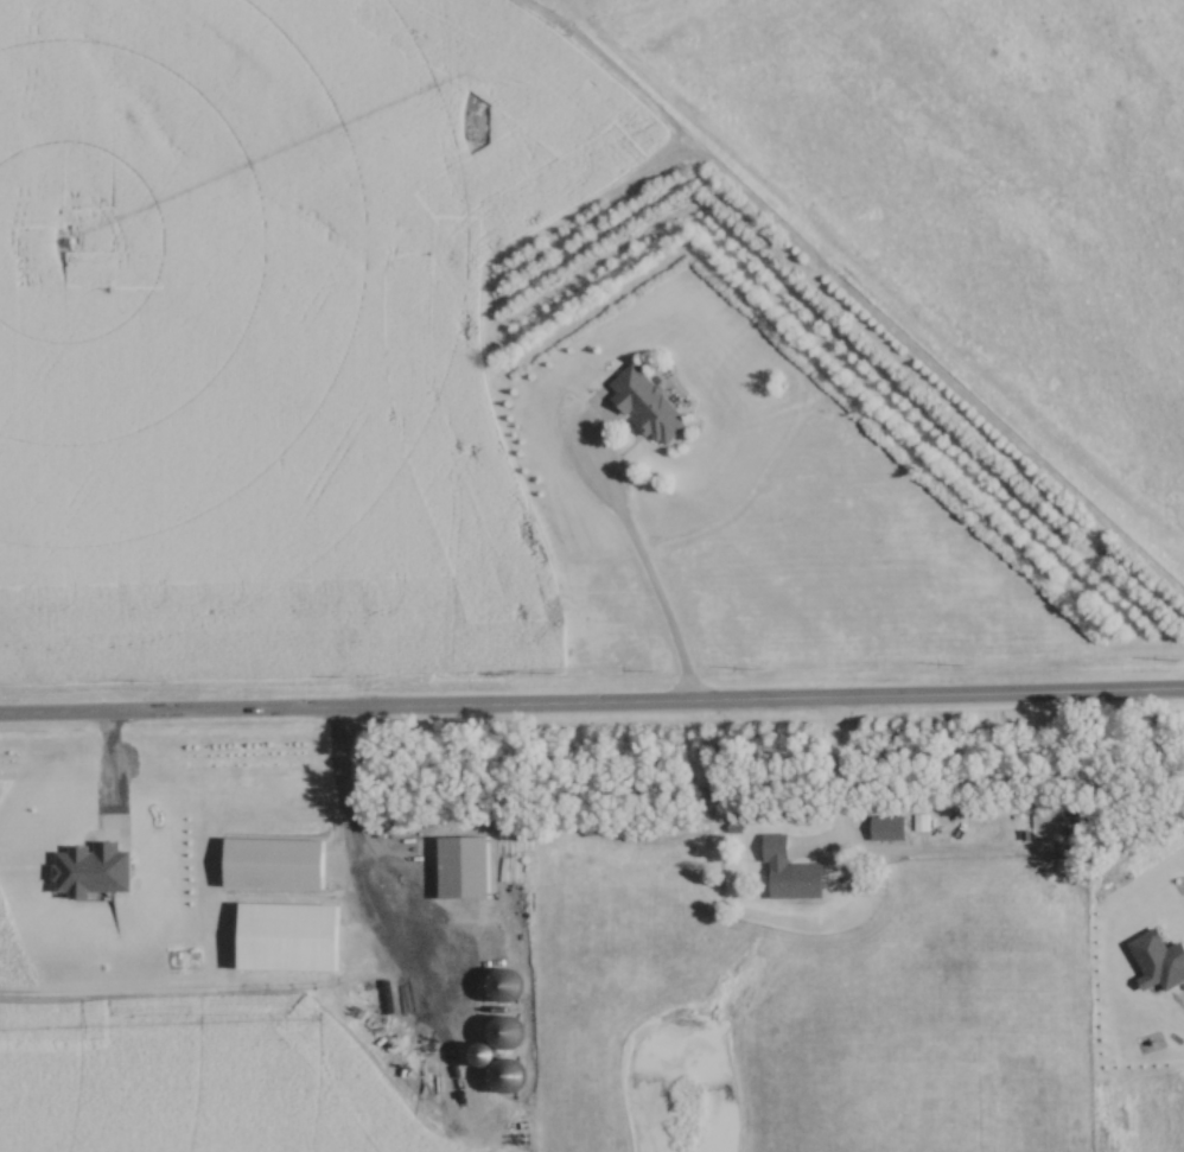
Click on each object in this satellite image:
building: (648, 403)
road: (644, 573)
road: (591, 702)
road: (836, 797)
building: (922, 822)
building: (889, 827)
road: (352, 848)
building: (274, 863)
building: (464, 866)
building: (791, 872)
building: (504, 985)
building: (504, 1031)
building: (484, 1054)
building: (507, 1078)

